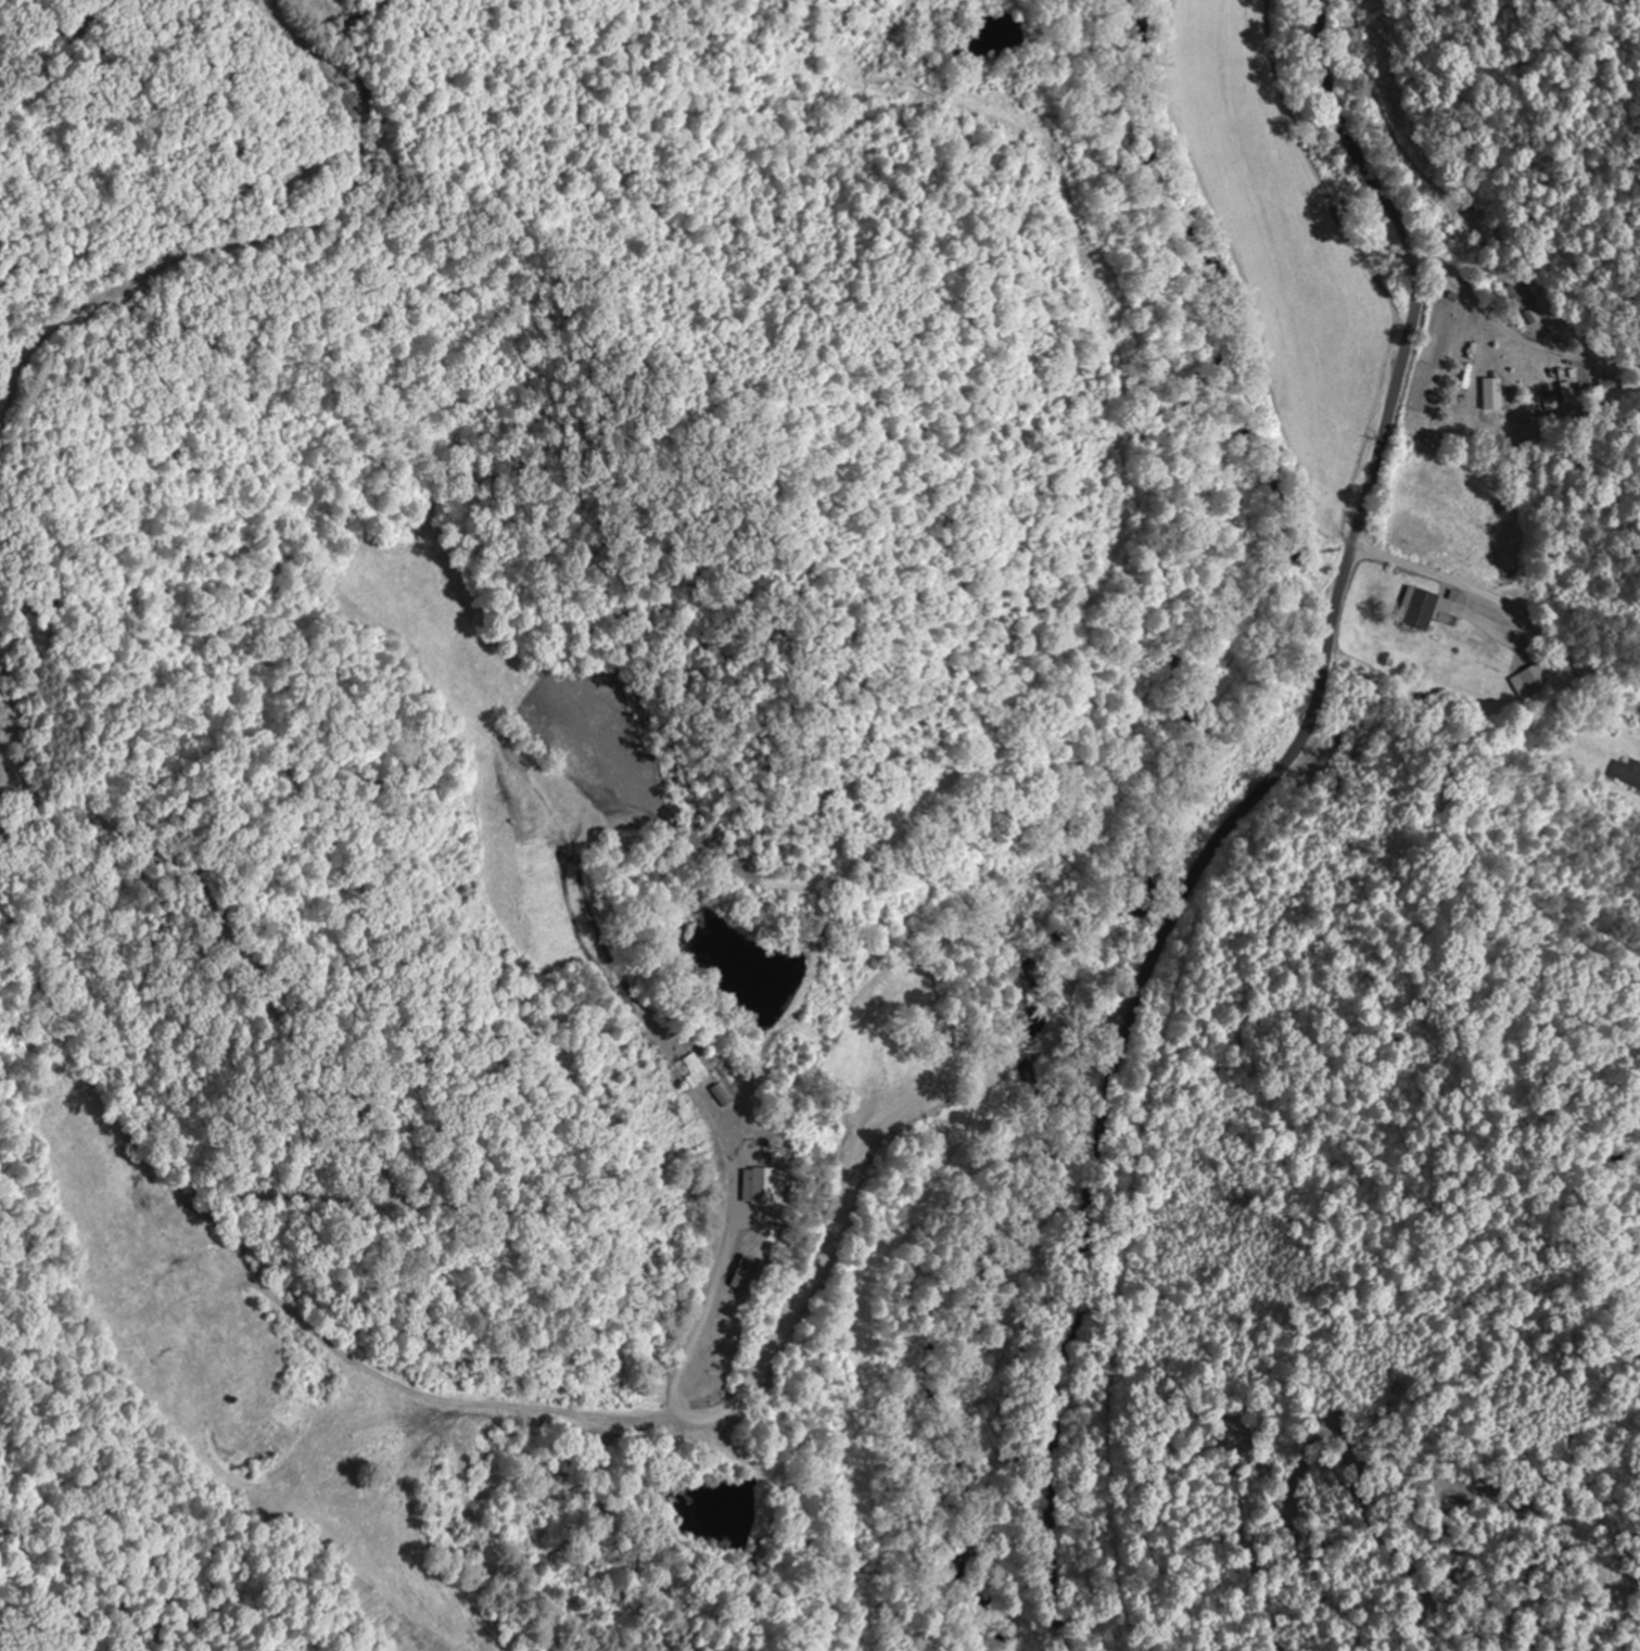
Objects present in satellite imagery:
building: (1556, 384)
building: (1599, 385)
road: (1508, 604)
building: (1424, 607)
building: (1528, 678)
road: (1236, 815)
building: (763, 1186)

